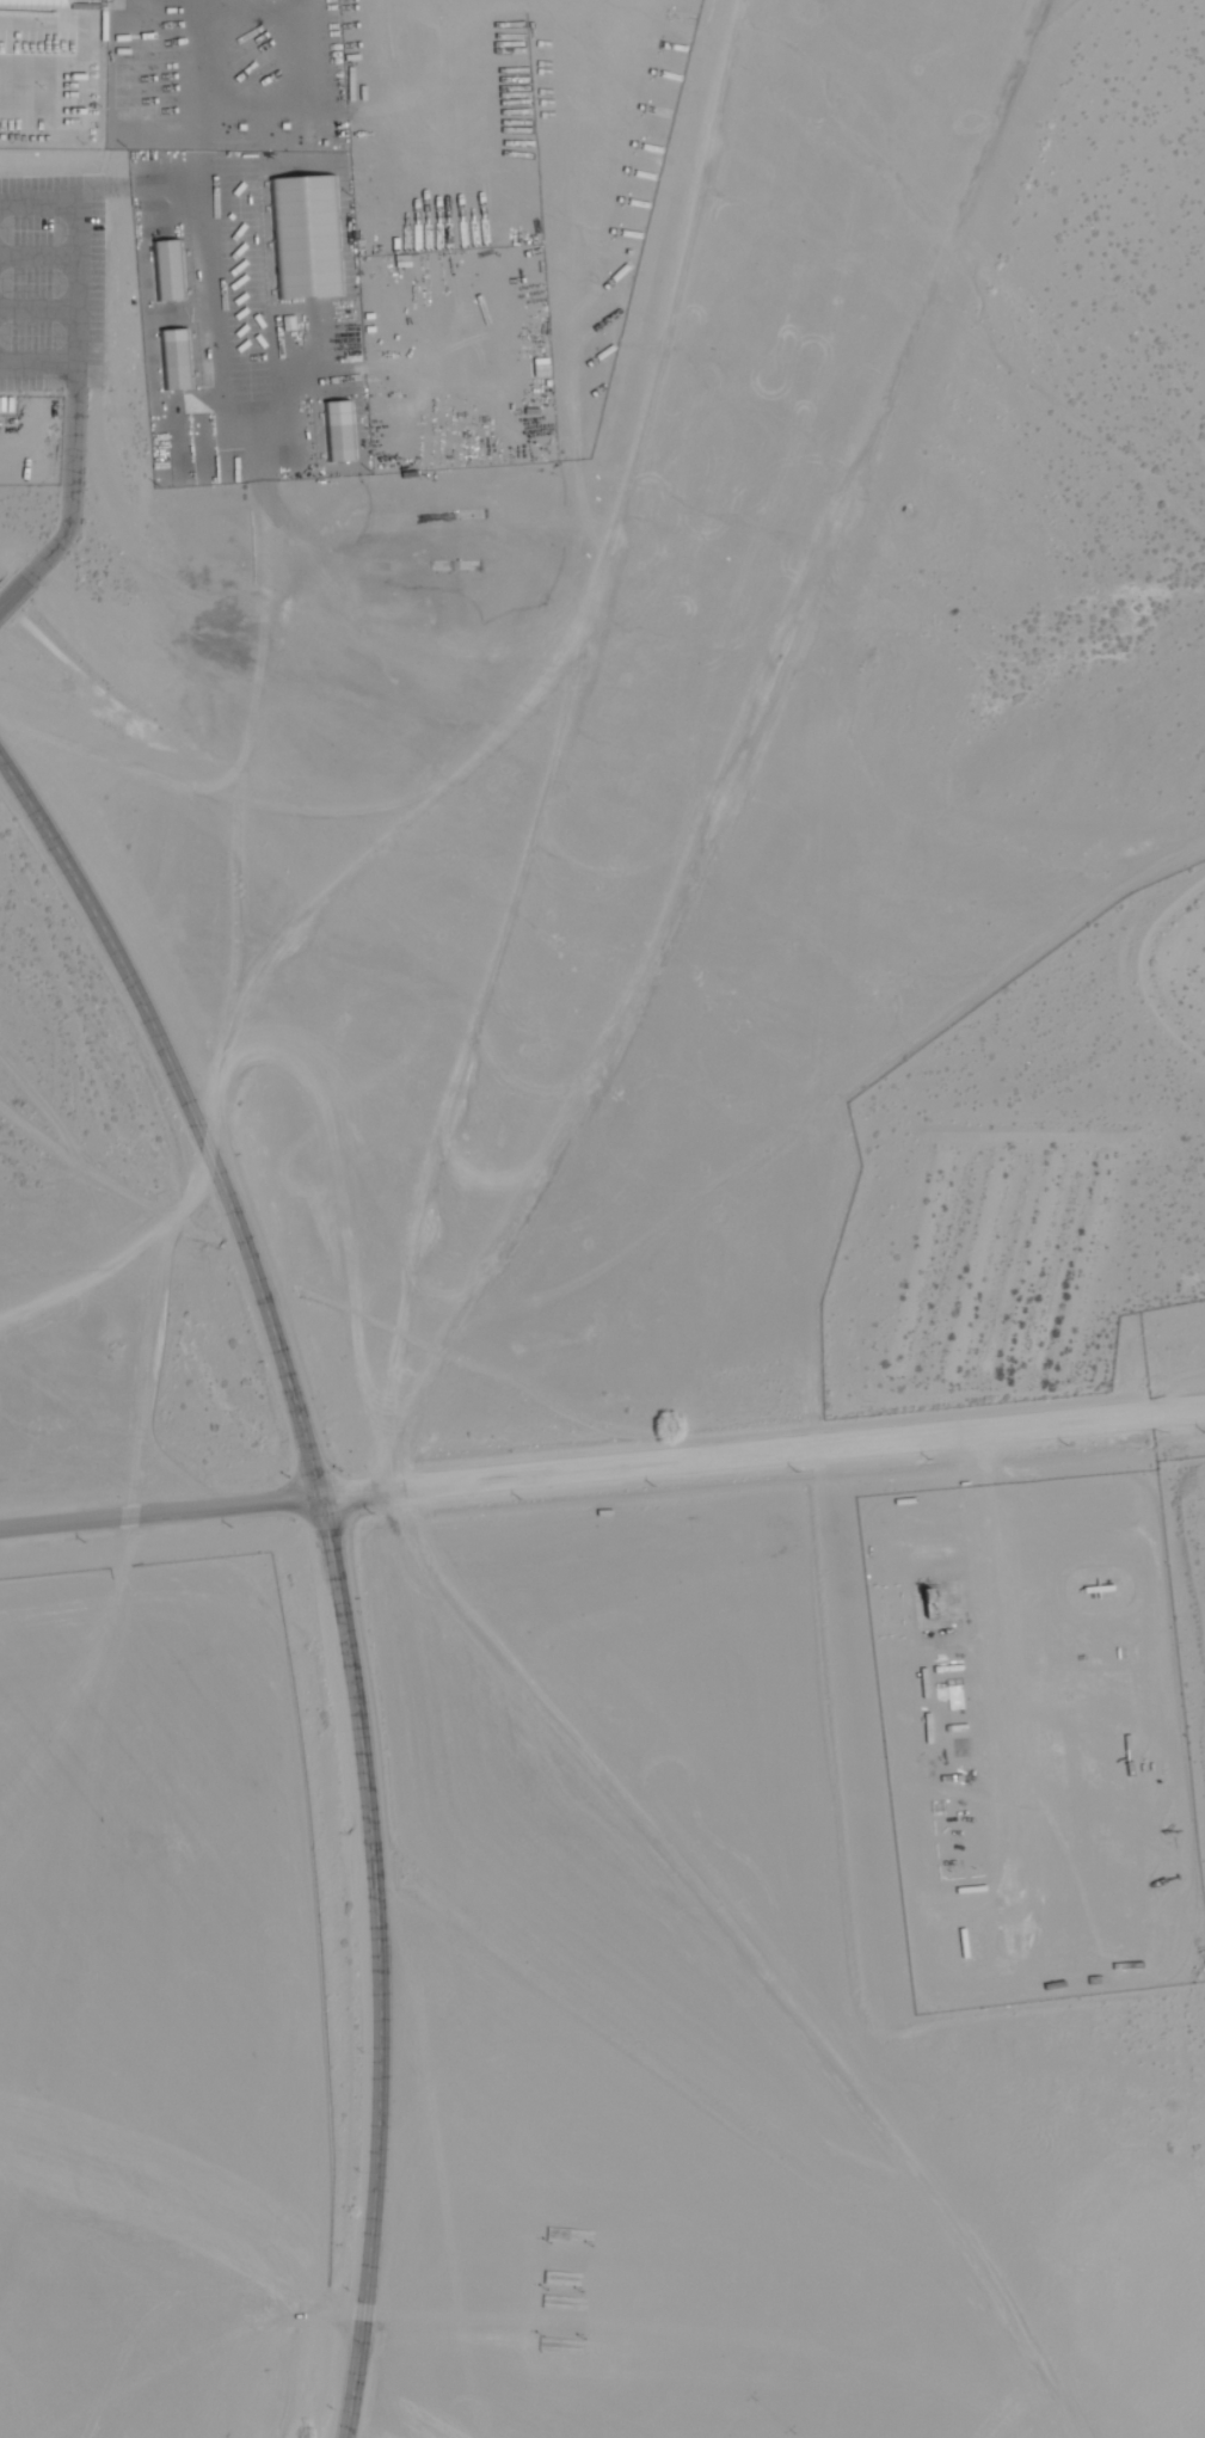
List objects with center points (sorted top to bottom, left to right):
road: (76, 244)
parking lot: (51, 283)
road: (36, 366)
road: (68, 499)
road: (743, 745)
road: (380, 829)
road: (405, 1303)
road: (762, 1454)
road: (160, 1513)
road: (334, 1565)
road: (404, 2420)

